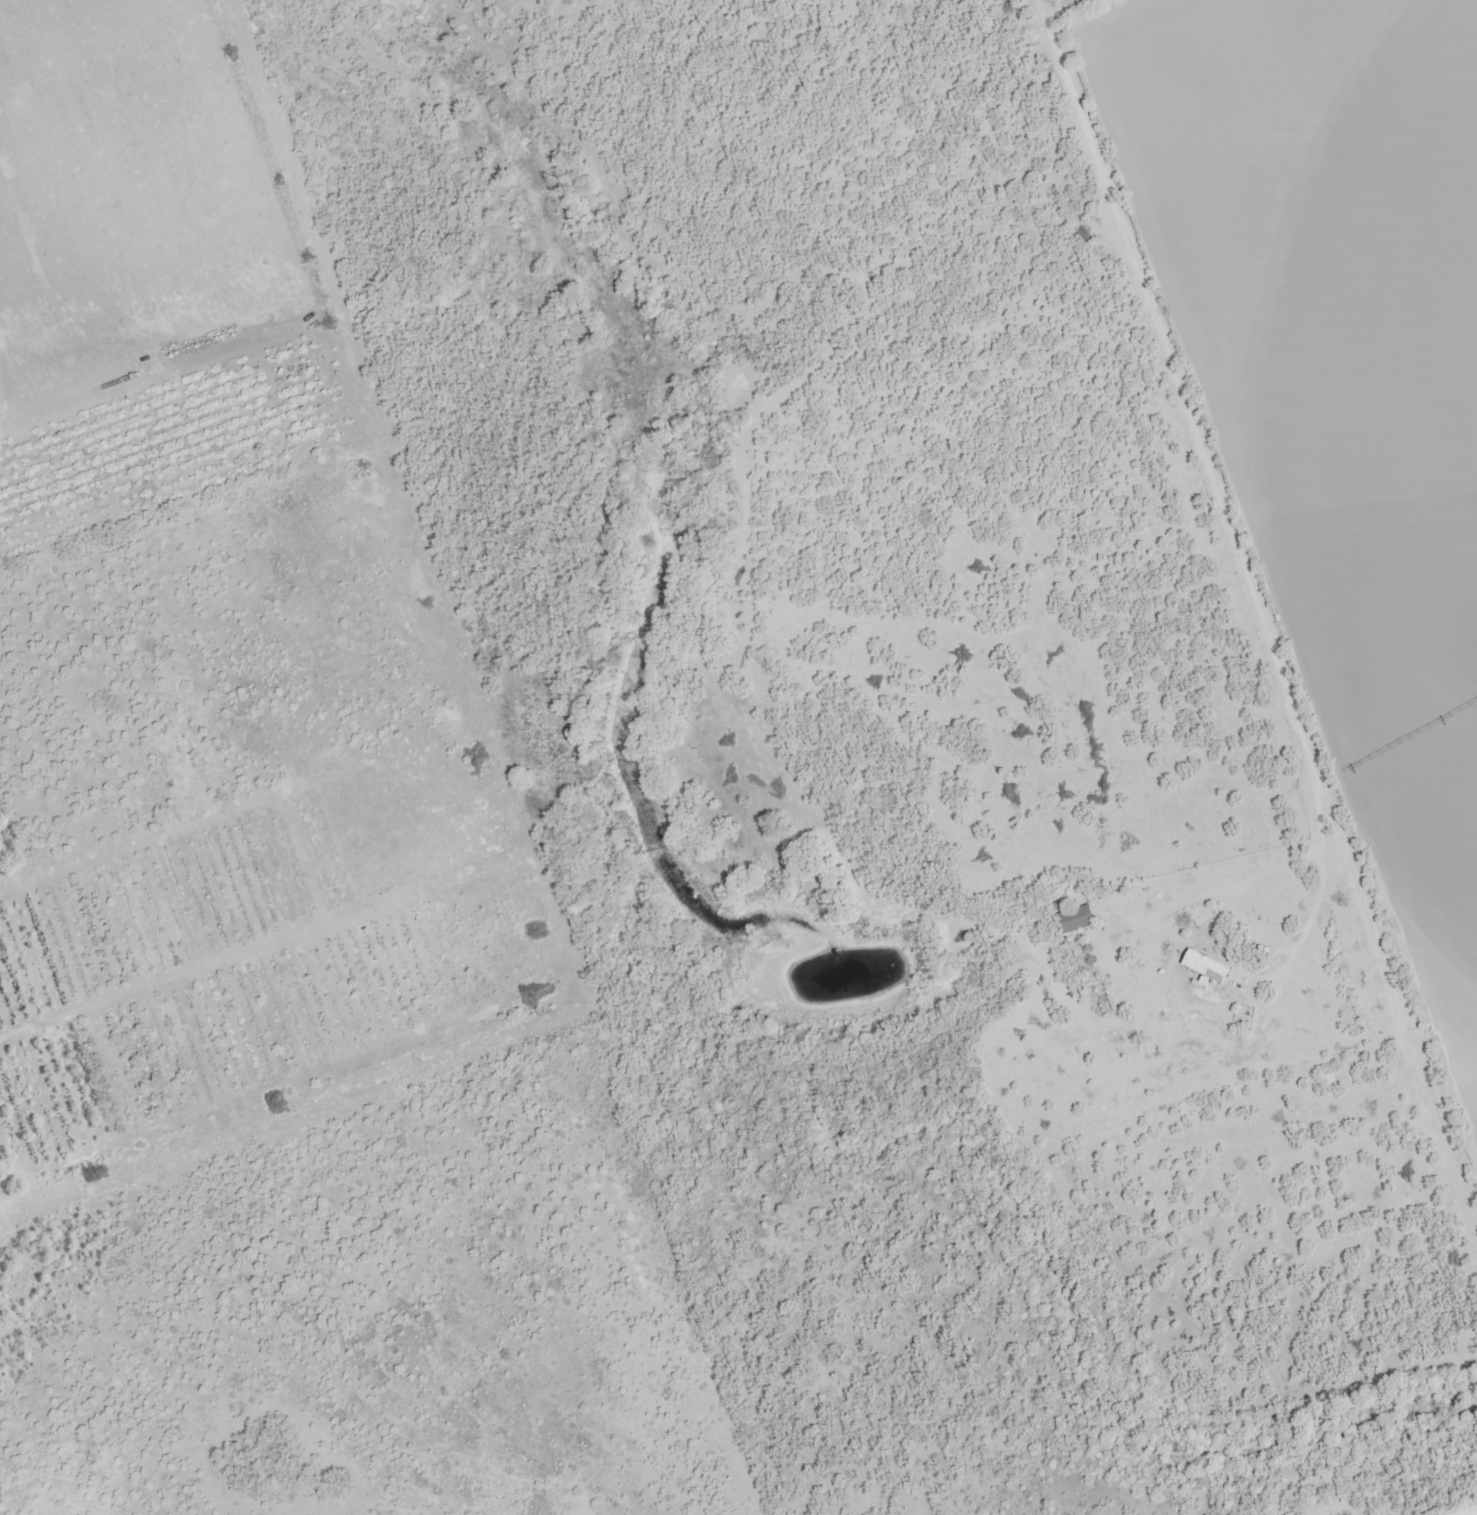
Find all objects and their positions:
building: (1077, 919)
building: (1207, 965)
road: (1476, 1514)

